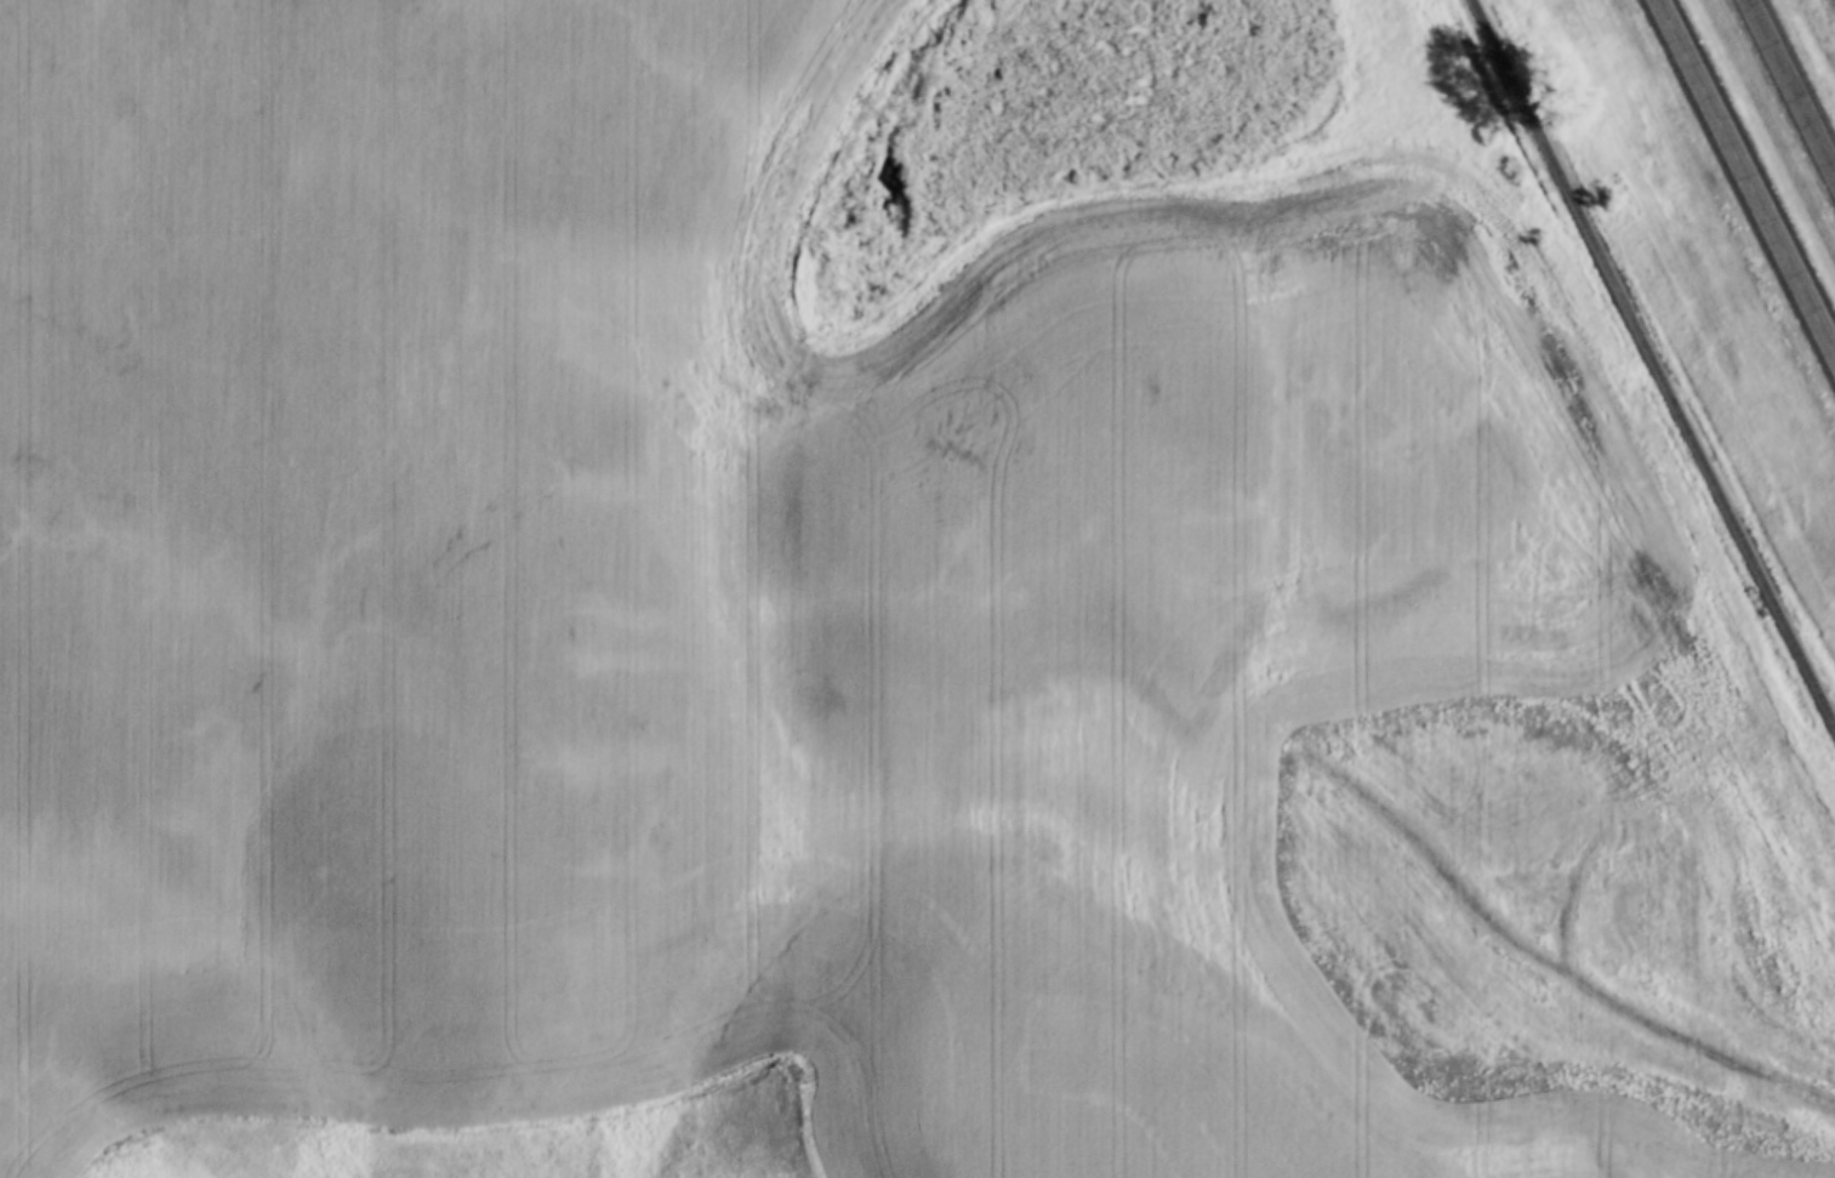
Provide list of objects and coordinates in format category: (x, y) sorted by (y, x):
road: (1793, 82)
road: (1746, 176)
railway: (1646, 385)

